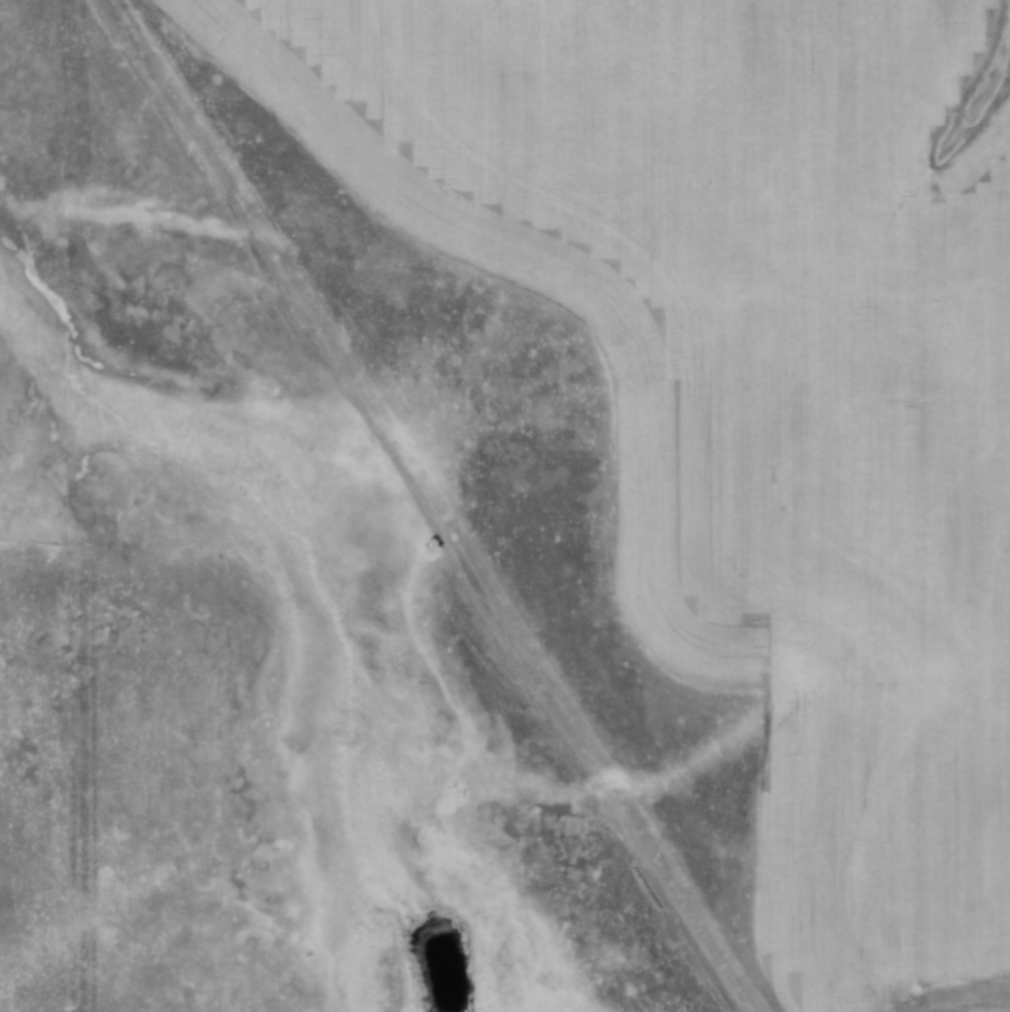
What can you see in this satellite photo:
road: (430, 502)

